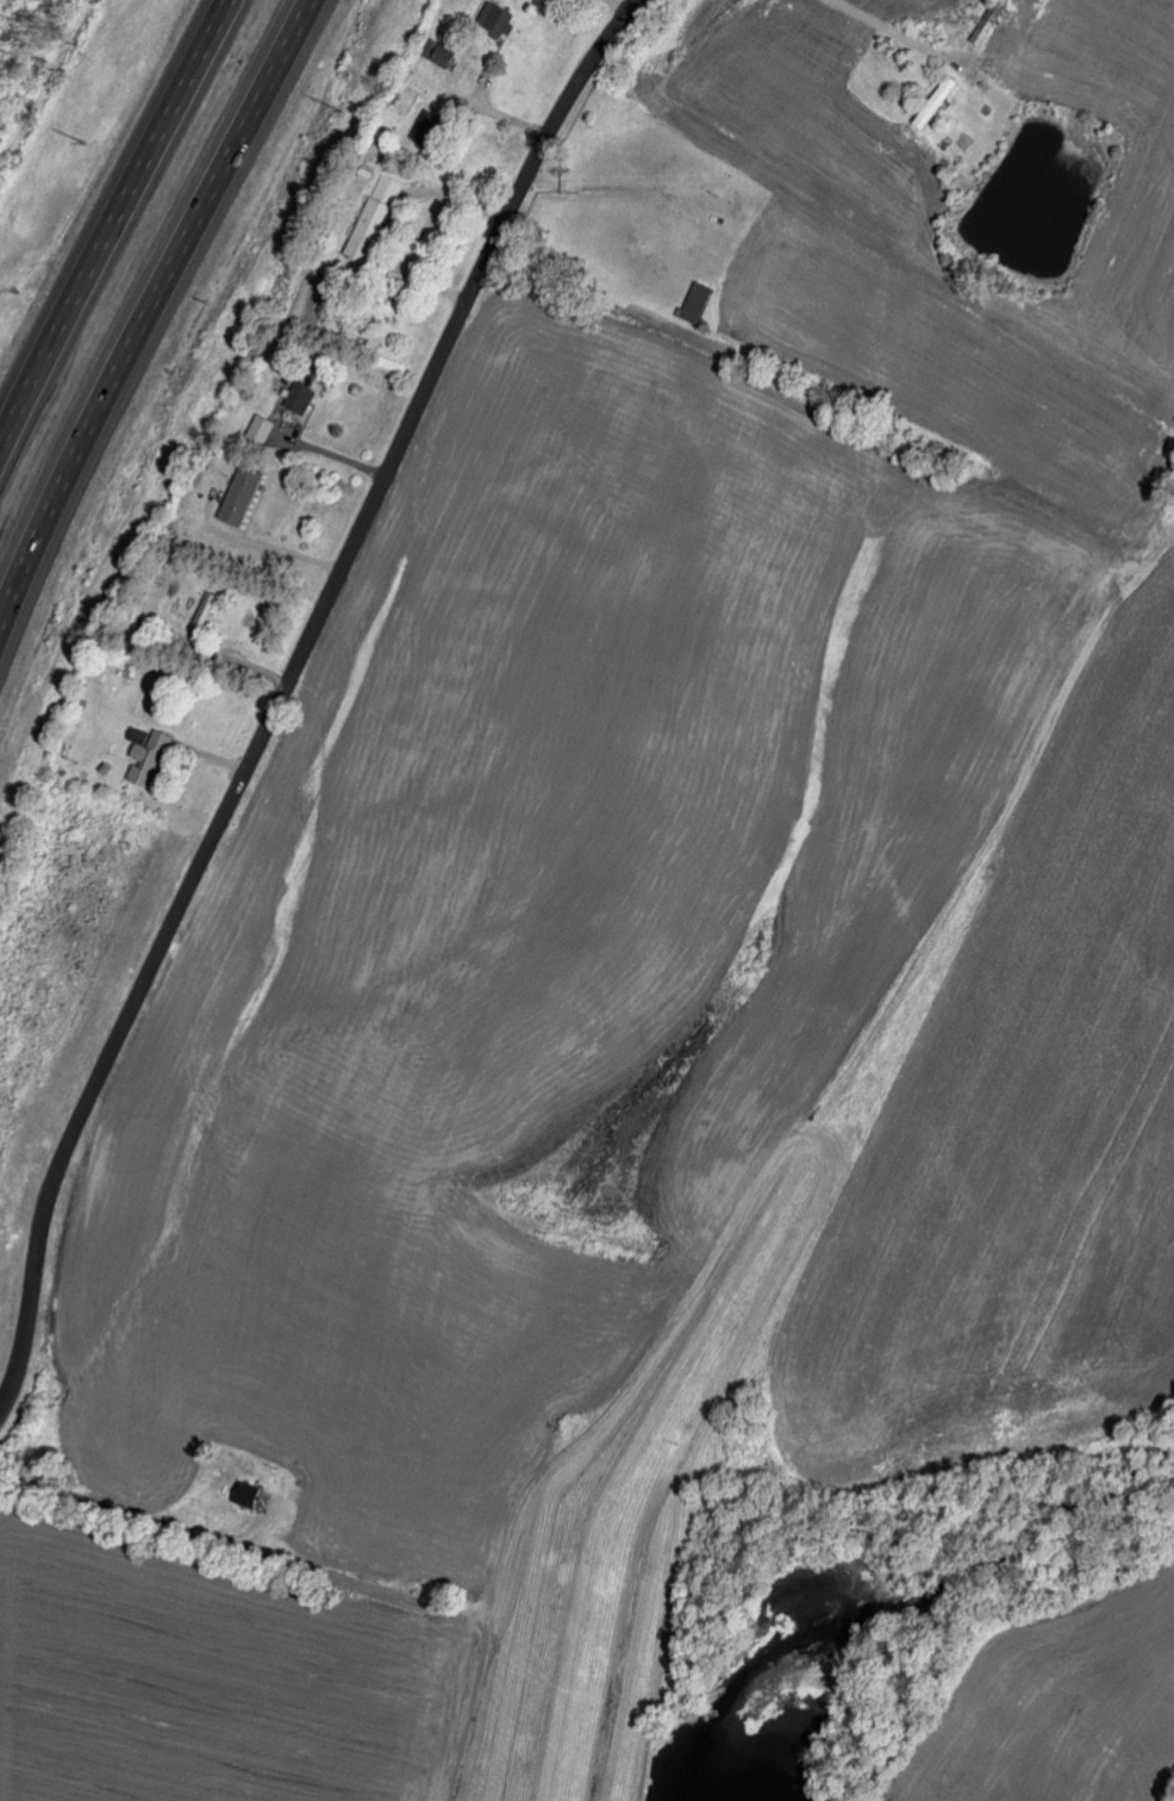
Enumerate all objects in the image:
building: (498, 17)
building: (991, 21)
road: (899, 36)
building: (441, 51)
building: (376, 218)
road: (110, 222)
road: (148, 309)
building: (305, 397)
building: (263, 428)
road: (325, 451)
building: (244, 494)
road: (277, 548)
building: (206, 612)
road: (283, 683)
building: (151, 759)
building: (250, 1494)
dam: (630, 1515)
road: (192, 1525)

